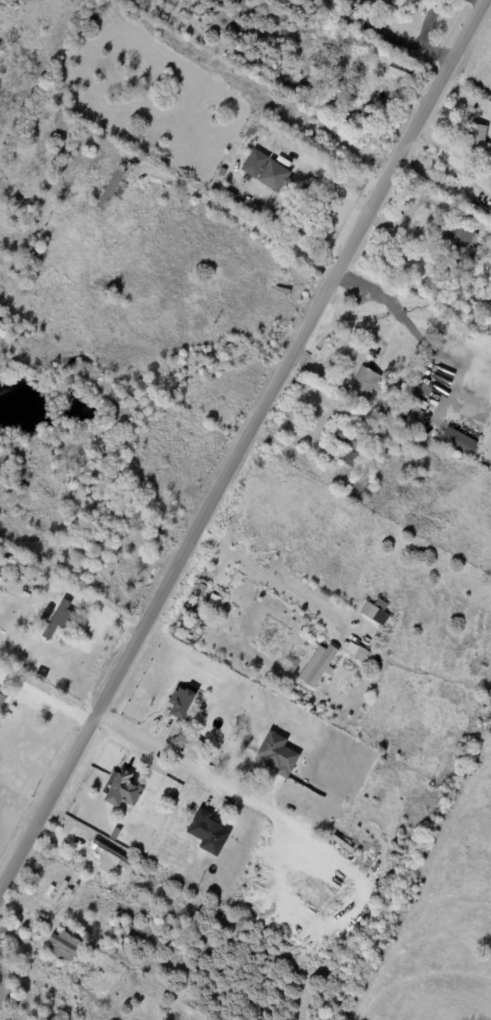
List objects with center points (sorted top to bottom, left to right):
building: (358, 3)
building: (396, 4)
building: (346, 12)
building: (363, 64)
road: (233, 84)
building: (356, 89)
building: (478, 139)
building: (273, 176)
building: (111, 189)
building: (229, 196)
building: (256, 210)
building: (460, 243)
building: (488, 257)
building: (26, 267)
road: (418, 319)
building: (482, 321)
building: (483, 331)
road: (343, 343)
building: (366, 384)
building: (417, 403)
building: (398, 411)
building: (417, 424)
building: (457, 442)
road: (241, 446)
building: (349, 446)
building: (21, 478)
building: (360, 490)
building: (12, 567)
building: (221, 590)
building: (200, 592)
building: (214, 602)
building: (374, 612)
road: (342, 613)
building: (53, 625)
building: (181, 632)
building: (357, 653)
building: (318, 666)
building: (41, 677)
building: (301, 696)
building: (183, 701)
building: (2, 702)
building: (278, 754)
road: (177, 763)
building: (124, 789)
building: (209, 832)
building: (118, 833)
building: (110, 855)
building: (123, 932)
building: (67, 947)

